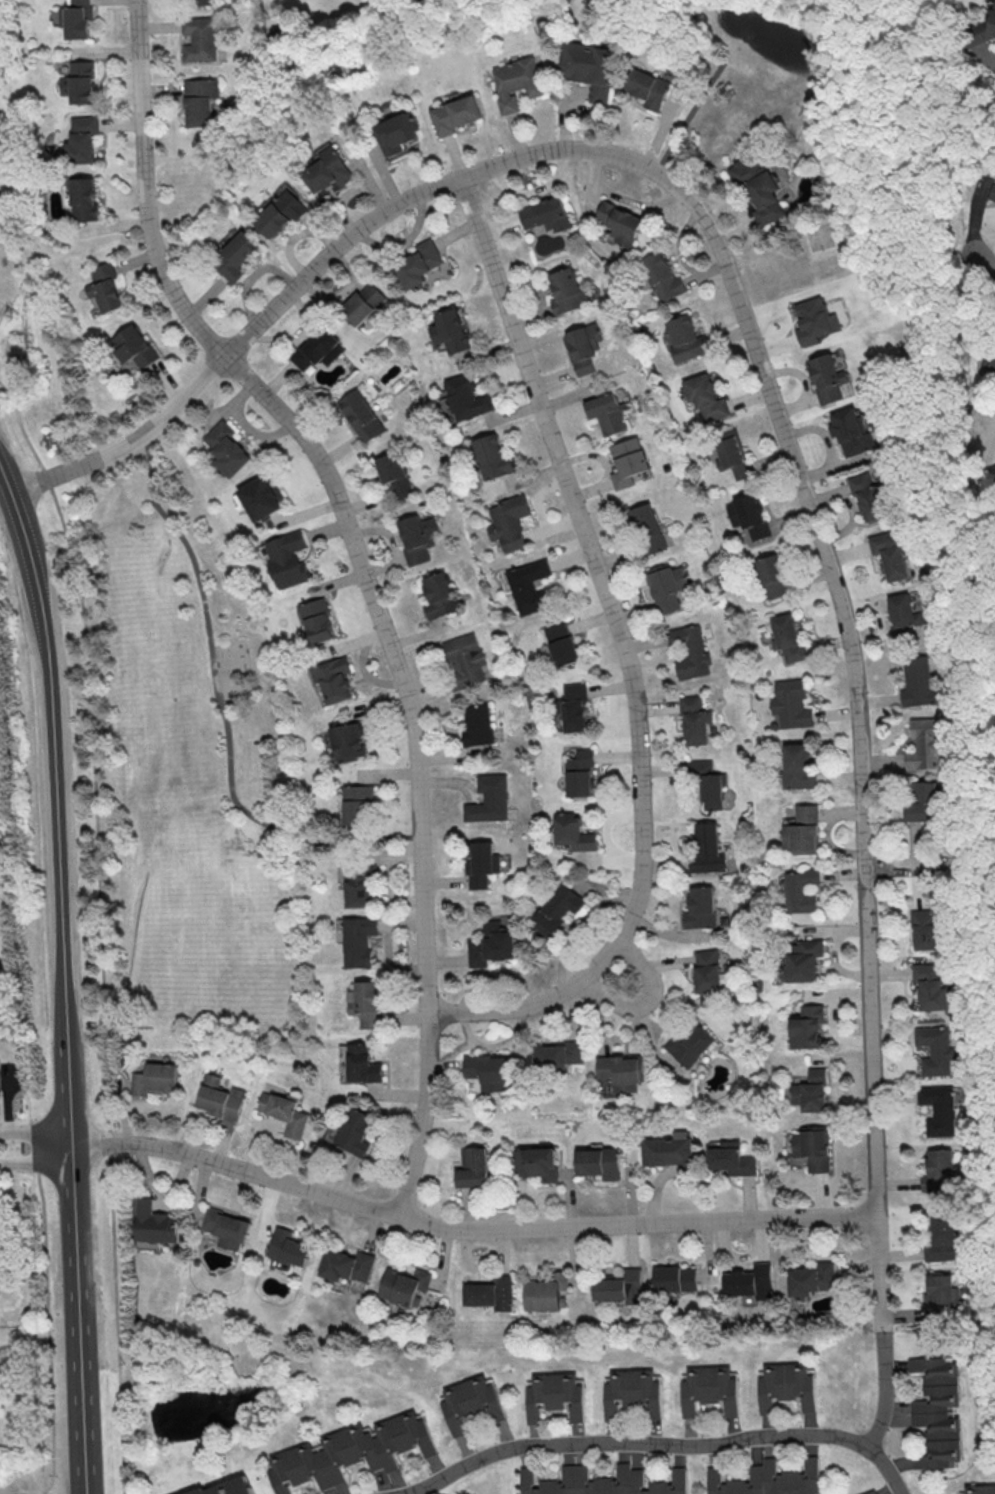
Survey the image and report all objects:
building: (199, 3)
building: (78, 21)
building: (978, 29)
building: (200, 40)
road: (894, 41)
building: (994, 45)
road: (981, 55)
building: (588, 67)
building: (517, 83)
park: (742, 86)
building: (83, 87)
building: (648, 87)
building: (200, 102)
building: (456, 114)
road: (690, 115)
building: (398, 132)
building: (82, 141)
building: (329, 170)
building: (758, 187)
building: (991, 193)
building: (84, 204)
building: (282, 213)
road: (975, 213)
building: (546, 214)
road: (923, 218)
building: (619, 222)
building: (237, 256)
road: (955, 258)
building: (417, 263)
road: (986, 263)
building: (662, 276)
building: (105, 287)
building: (567, 291)
building: (362, 303)
building: (813, 320)
building: (449, 330)
building: (686, 342)
building: (135, 346)
building: (585, 346)
building: (317, 349)
road: (760, 361)
building: (989, 363)
building: (826, 381)
building: (466, 397)
building: (706, 399)
building: (607, 415)
building: (360, 416)
building: (853, 435)
building: (228, 448)
building: (732, 454)
building: (492, 457)
building: (628, 463)
building: (394, 474)
building: (263, 498)
building: (870, 500)
building: (748, 515)
building: (510, 524)
building: (648, 533)
building: (416, 538)
road: (980, 543)
building: (893, 557)
building: (289, 559)
building: (773, 576)
road: (367, 578)
building: (666, 586)
building: (530, 588)
building: (438, 595)
building: (904, 615)
building: (318, 620)
building: (788, 640)
building: (562, 644)
building: (689, 652)
road: (625, 656)
building: (462, 660)
building: (334, 679)
building: (919, 686)
building: (791, 704)
building: (575, 706)
building: (694, 719)
building: (478, 726)
building: (350, 740)
building: (924, 747)
road: (994, 762)
building: (797, 766)
building: (580, 773)
building: (707, 782)
building: (489, 799)
park: (984, 802)
building: (358, 804)
building: (922, 805)
road: (62, 810)
building: (803, 830)
building: (574, 832)
building: (705, 849)
building: (482, 864)
road: (980, 864)
road: (916, 866)
building: (359, 885)
road: (994, 886)
building: (800, 890)
building: (699, 907)
building: (557, 909)
road: (106, 928)
building: (924, 928)
building: (359, 940)
building: (491, 944)
building: (804, 959)
building: (706, 970)
building: (930, 984)
road: (648, 997)
building: (366, 1003)
road: (834, 1014)
building: (808, 1027)
building: (691, 1045)
building: (935, 1050)
building: (558, 1056)
building: (361, 1063)
building: (488, 1070)
building: (622, 1071)
building: (156, 1078)
building: (0, 1088)
building: (813, 1091)
building: (222, 1098)
building: (938, 1109)
building: (285, 1115)
road: (35, 1130)
building: (356, 1131)
building: (814, 1147)
building: (668, 1152)
building: (732, 1159)
road: (35, 1161)
building: (538, 1162)
building: (601, 1162)
building: (473, 1167)
building: (938, 1171)
building: (156, 1223)
building: (228, 1228)
road: (468, 1228)
building: (942, 1237)
building: (289, 1247)
road: (76, 1261)
building: (347, 1265)
building: (675, 1278)
building: (811, 1278)
building: (750, 1282)
building: (403, 1285)
building: (620, 1287)
building: (546, 1292)
building: (490, 1293)
building: (940, 1295)
road: (47, 1312)
building: (785, 1386)
building: (709, 1389)
road: (883, 1391)
building: (632, 1393)
building: (555, 1396)
building: (471, 1402)
building: (937, 1411)
road: (83, 1429)
road: (661, 1444)
building: (351, 1452)
building: (767, 1479)
building: (602, 1482)
building: (228, 1487)
building: (981, 1489)
building: (871, 1492)

